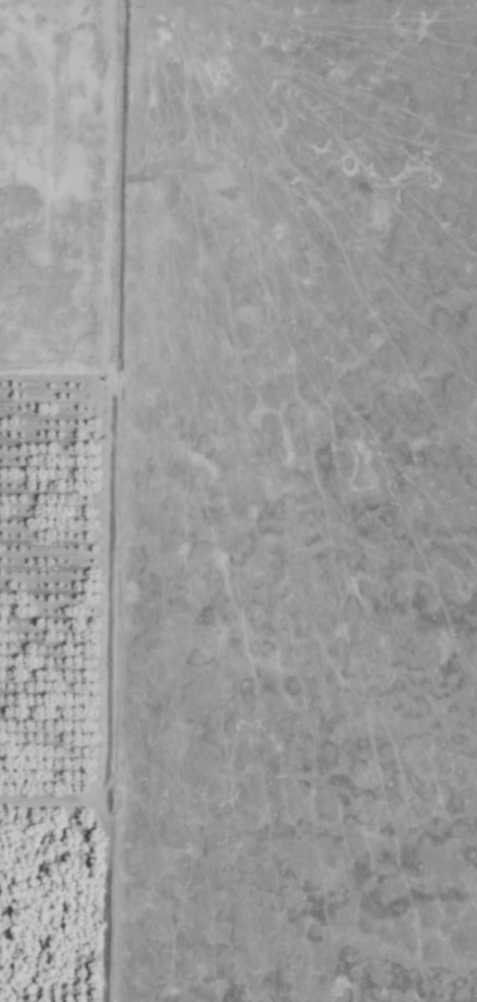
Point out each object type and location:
crop: (69, 679)
road: (107, 846)

